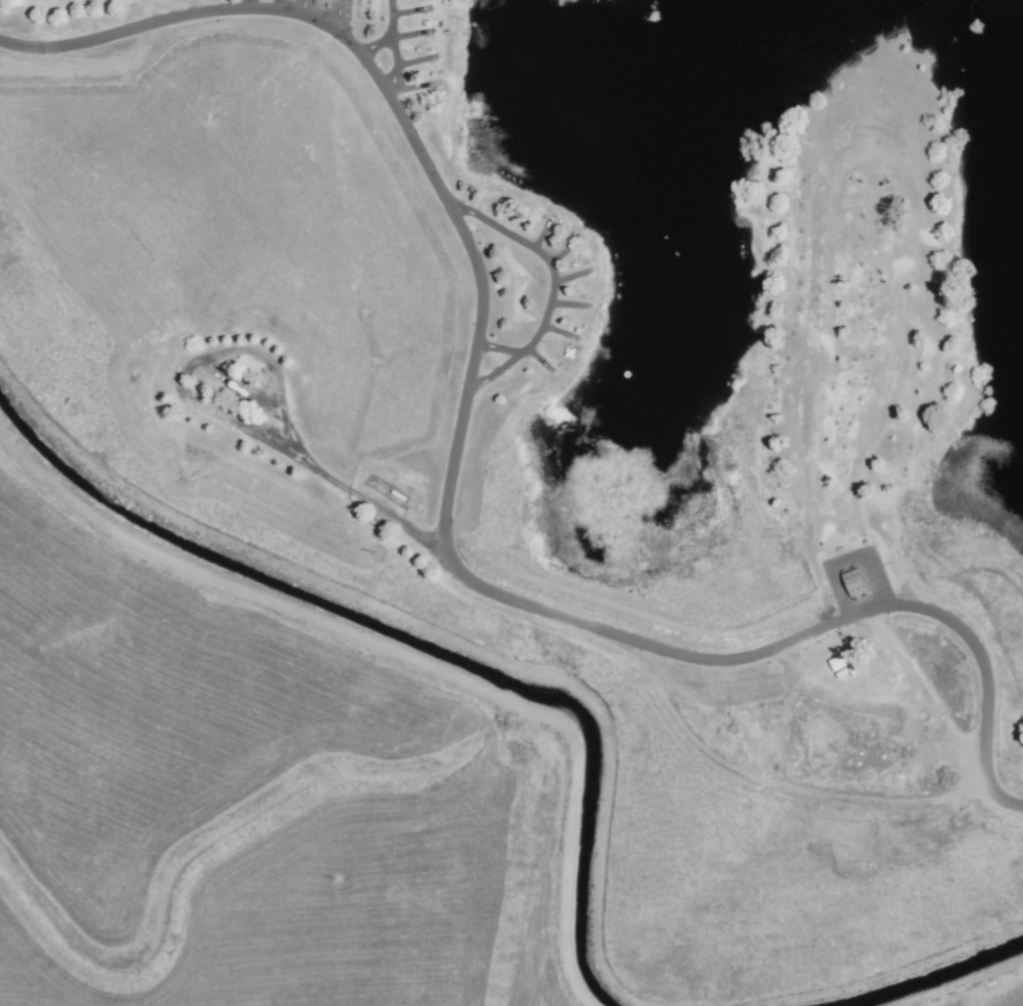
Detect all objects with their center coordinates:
building: (325, 1)
building: (237, 387)
road: (449, 479)
road: (347, 488)
building: (854, 583)

